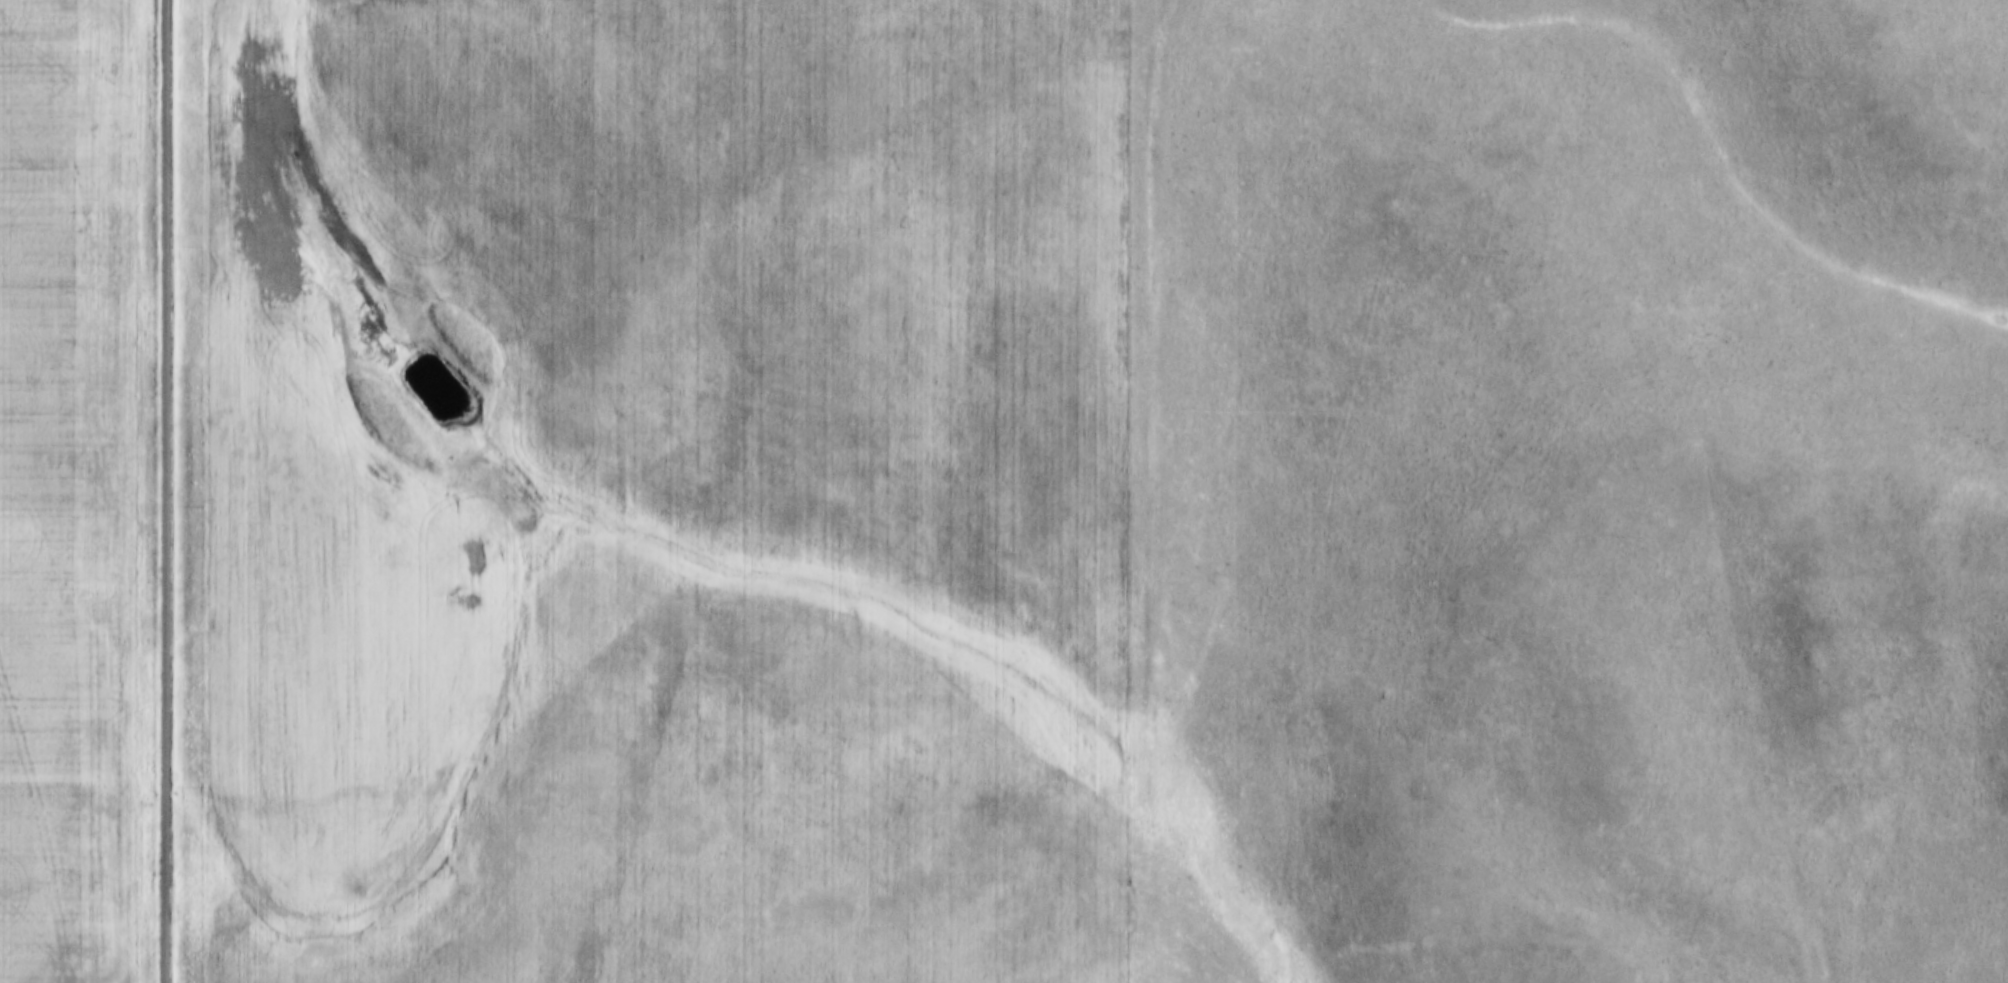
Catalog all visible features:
road: (1146, 489)
road: (162, 491)

